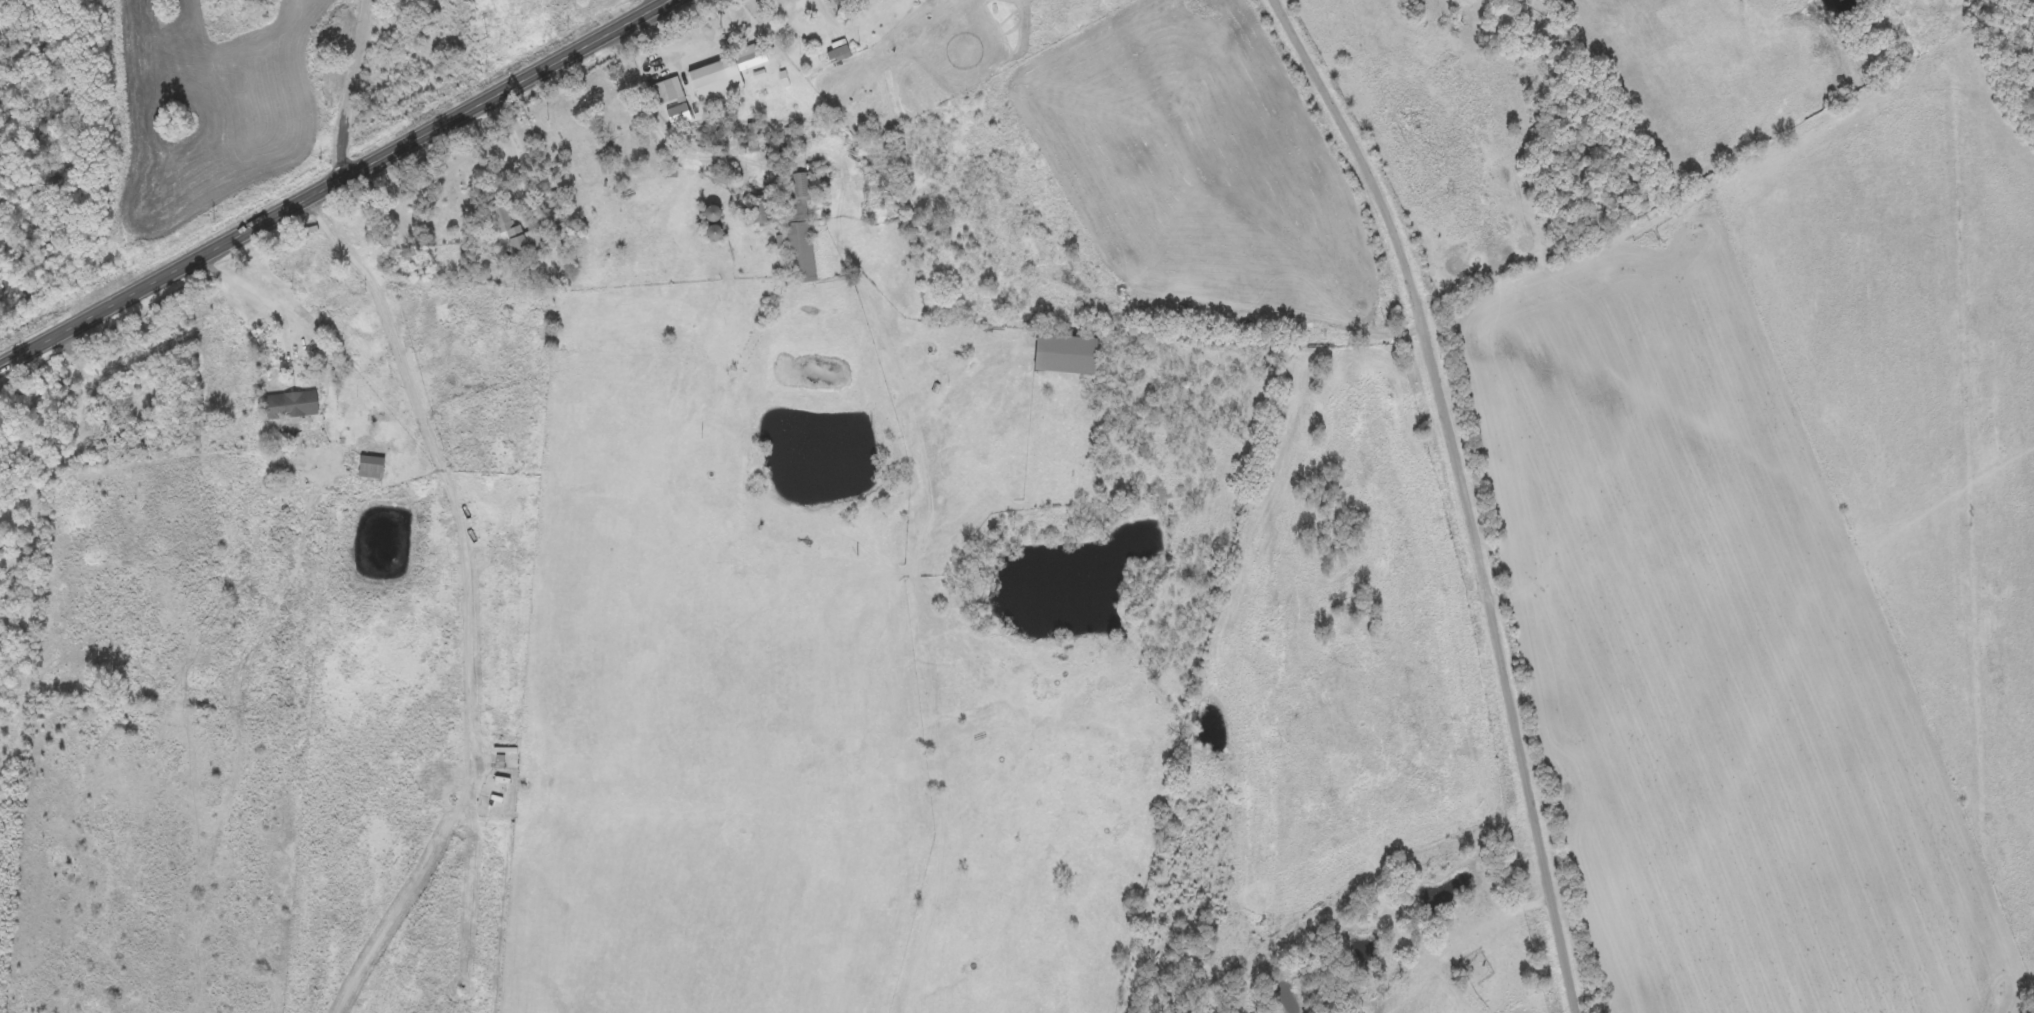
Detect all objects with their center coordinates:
power tower: (722, 29)
power tower: (487, 37)
building: (839, 55)
building: (710, 83)
road: (352, 93)
building: (667, 93)
building: (678, 116)
power tower: (547, 119)
road: (338, 183)
building: (801, 186)
building: (760, 207)
building: (507, 226)
building: (801, 251)
building: (1065, 356)
building: (291, 407)
building: (371, 469)
road: (1471, 492)

